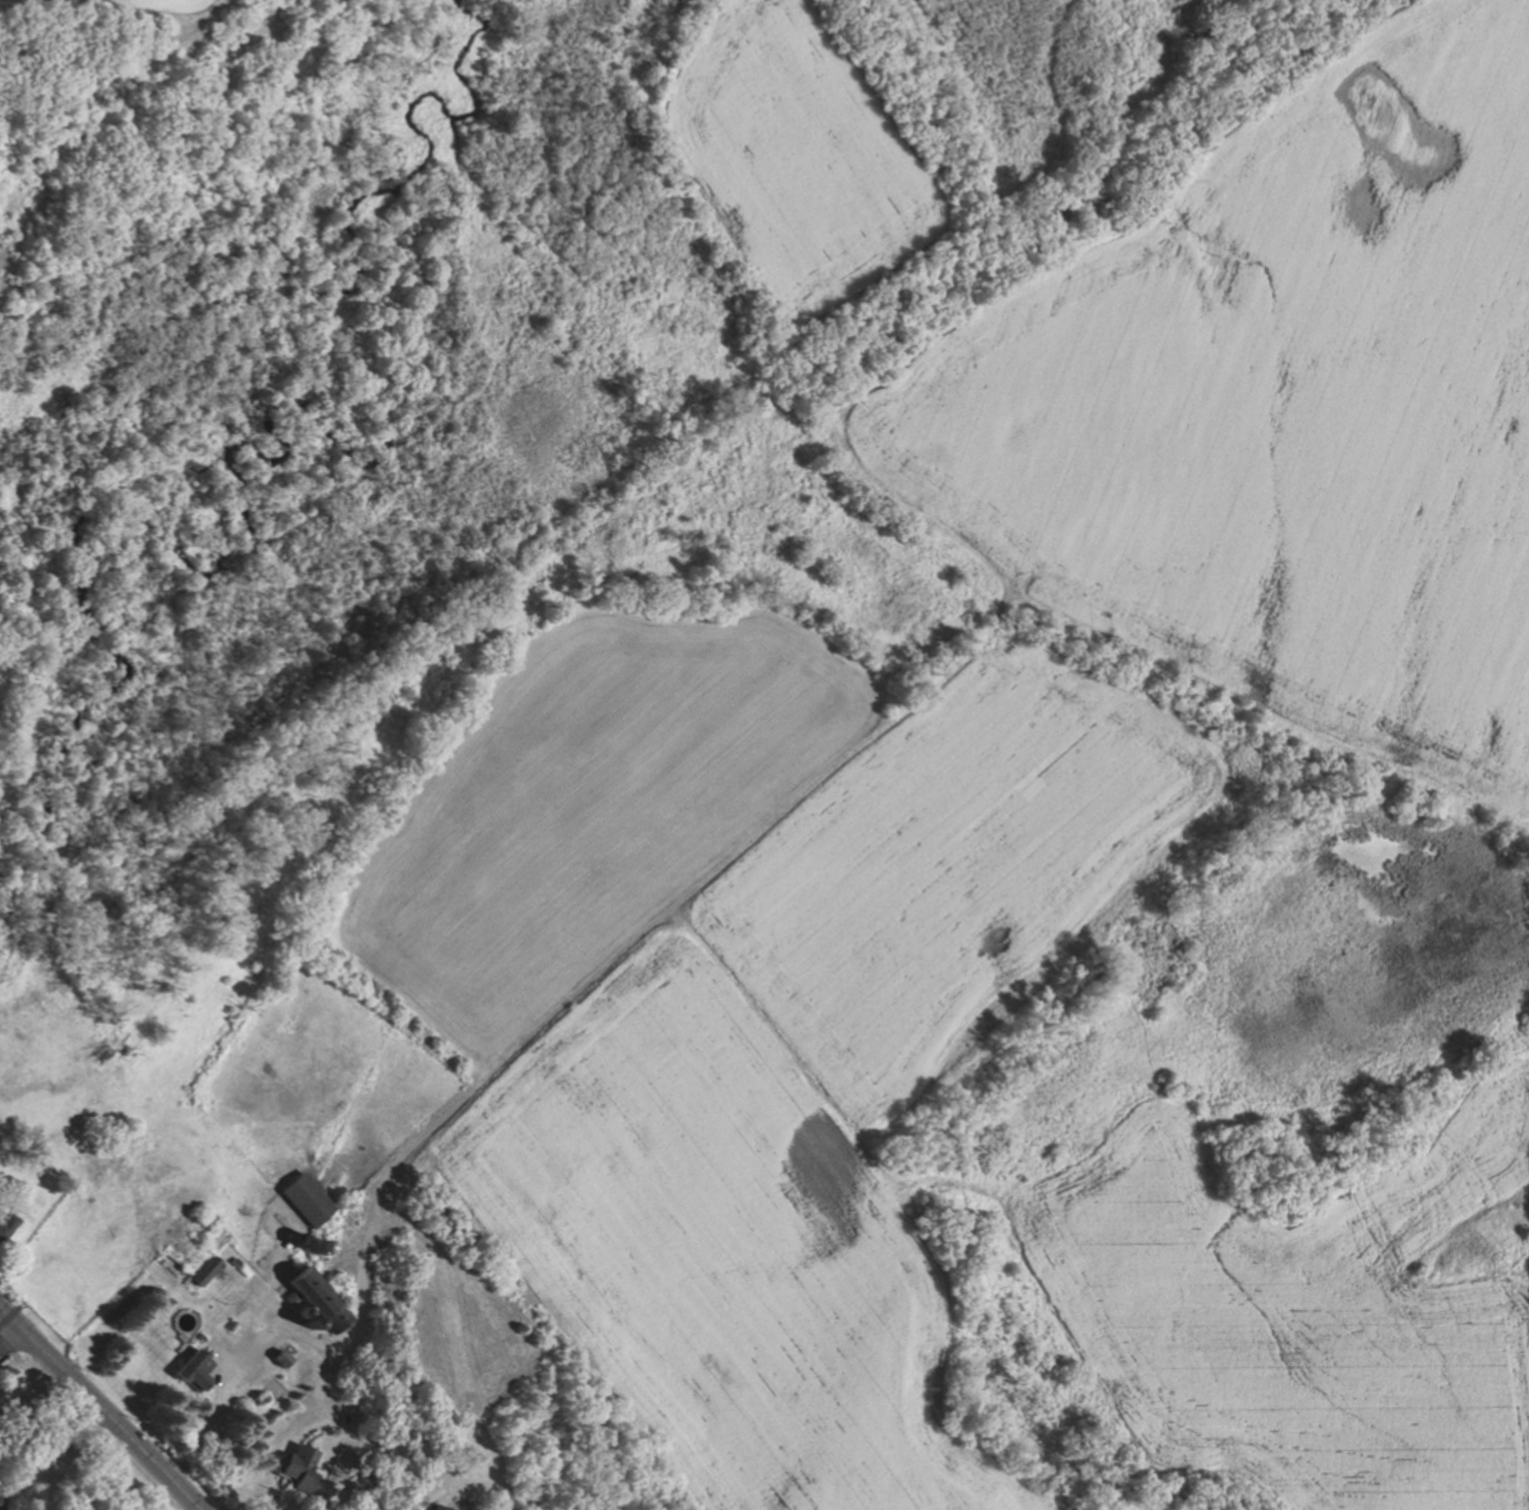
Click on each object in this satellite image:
building: (302, 1199)
building: (439, 1216)
building: (5, 1220)
building: (313, 1246)
building: (234, 1261)
building: (204, 1269)
building: (322, 1297)
building: (301, 1310)
building: (229, 1322)
building: (309, 1323)
building: (201, 1334)
road: (297, 1335)
road: (7, 1345)
building: (280, 1356)
building: (197, 1372)
road: (22, 1382)
building: (260, 1395)
building: (342, 1416)
road: (96, 1419)
road: (48, 1457)
building: (294, 1467)
building: (438, 1508)

